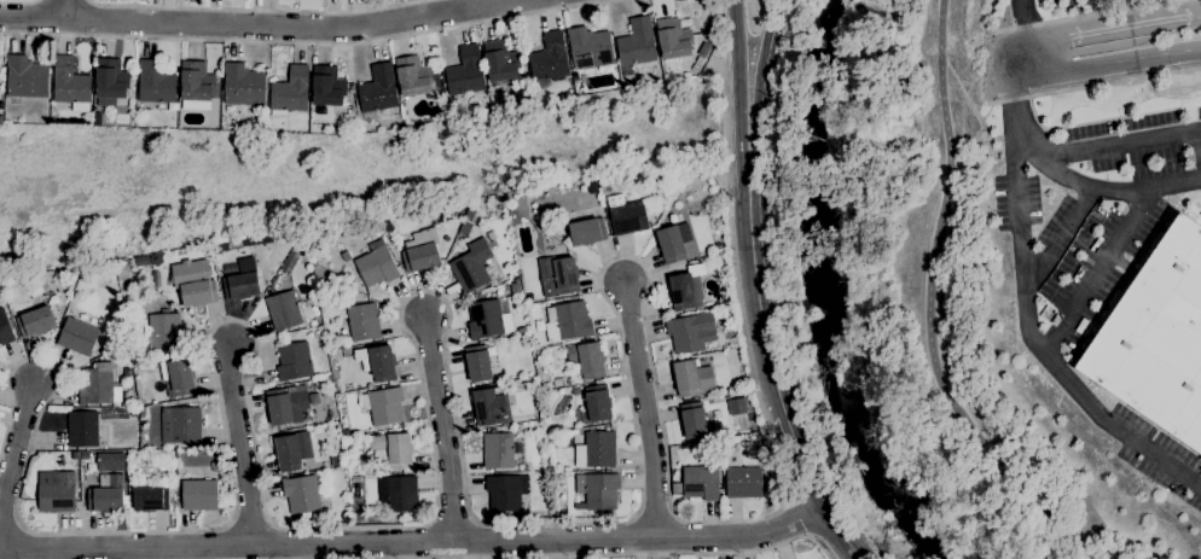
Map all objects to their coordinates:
road: (16, 2)
road: (66, 6)
road: (254, 8)
parking lot: (1022, 8)
road: (33, 12)
road: (284, 16)
road: (1089, 16)
road: (1196, 16)
road: (721, 21)
road: (1025, 21)
road: (1112, 29)
building: (672, 39)
road: (304, 42)
building: (636, 42)
road: (1021, 43)
building: (588, 47)
building: (700, 57)
building: (547, 58)
building: (500, 60)
road: (1013, 63)
road: (1107, 64)
building: (465, 71)
building: (412, 76)
building: (25, 77)
building: (109, 82)
building: (155, 82)
building: (70, 85)
building: (242, 85)
building: (196, 86)
building: (326, 86)
road: (1093, 86)
building: (377, 88)
building: (289, 92)
building: (0, 103)
building: (456, 103)
building: (320, 109)
road: (1015, 116)
road: (965, 117)
building: (0, 118)
building: (123, 120)
road: (1109, 142)
road: (761, 146)
road: (743, 147)
road: (1106, 190)
parking lot: (1090, 212)
building: (628, 214)
building: (466, 220)
building: (586, 231)
road: (1058, 239)
building: (673, 241)
building: (420, 251)
building: (344, 256)
building: (139, 261)
building: (376, 264)
building: (472, 267)
building: (319, 268)
road: (1100, 273)
building: (262, 275)
building: (557, 275)
building: (242, 281)
building: (193, 283)
building: (273, 285)
building: (144, 287)
building: (515, 289)
building: (686, 289)
road: (433, 291)
river: (816, 295)
building: (48, 296)
road: (933, 305)
building: (286, 310)
building: (729, 316)
building: (487, 320)
building: (35, 321)
building: (362, 322)
building: (568, 322)
building: (5, 328)
building: (521, 330)
building: (164, 331)
building: (691, 332)
building: (77, 337)
building: (1156, 337)
building: (346, 351)
road: (1044, 354)
building: (106, 355)
building: (173, 355)
road: (770, 355)
building: (586, 359)
building: (294, 361)
building: (377, 361)
building: (477, 363)
building: (178, 375)
building: (692, 378)
building: (326, 382)
building: (98, 385)
building: (597, 402)
building: (383, 404)
building: (736, 406)
building: (286, 407)
building: (489, 407)
road: (645, 408)
building: (143, 417)
building: (692, 420)
building: (180, 424)
road: (442, 426)
building: (82, 429)
building: (344, 430)
building: (347, 439)
road: (239, 443)
road: (16, 447)
building: (391, 449)
building: (596, 449)
building: (497, 450)
building: (91, 453)
building: (285, 453)
building: (74, 454)
building: (214, 456)
building: (132, 458)
road: (802, 462)
building: (215, 466)
building: (362, 467)
building: (557, 477)
building: (354, 478)
building: (701, 482)
building: (743, 482)
building: (597, 490)
building: (57, 493)
building: (301, 493)
building: (398, 493)
building: (106, 494)
building: (198, 494)
building: (505, 494)
building: (149, 496)
road: (797, 518)
road: (841, 535)
road: (413, 542)
road: (611, 554)

